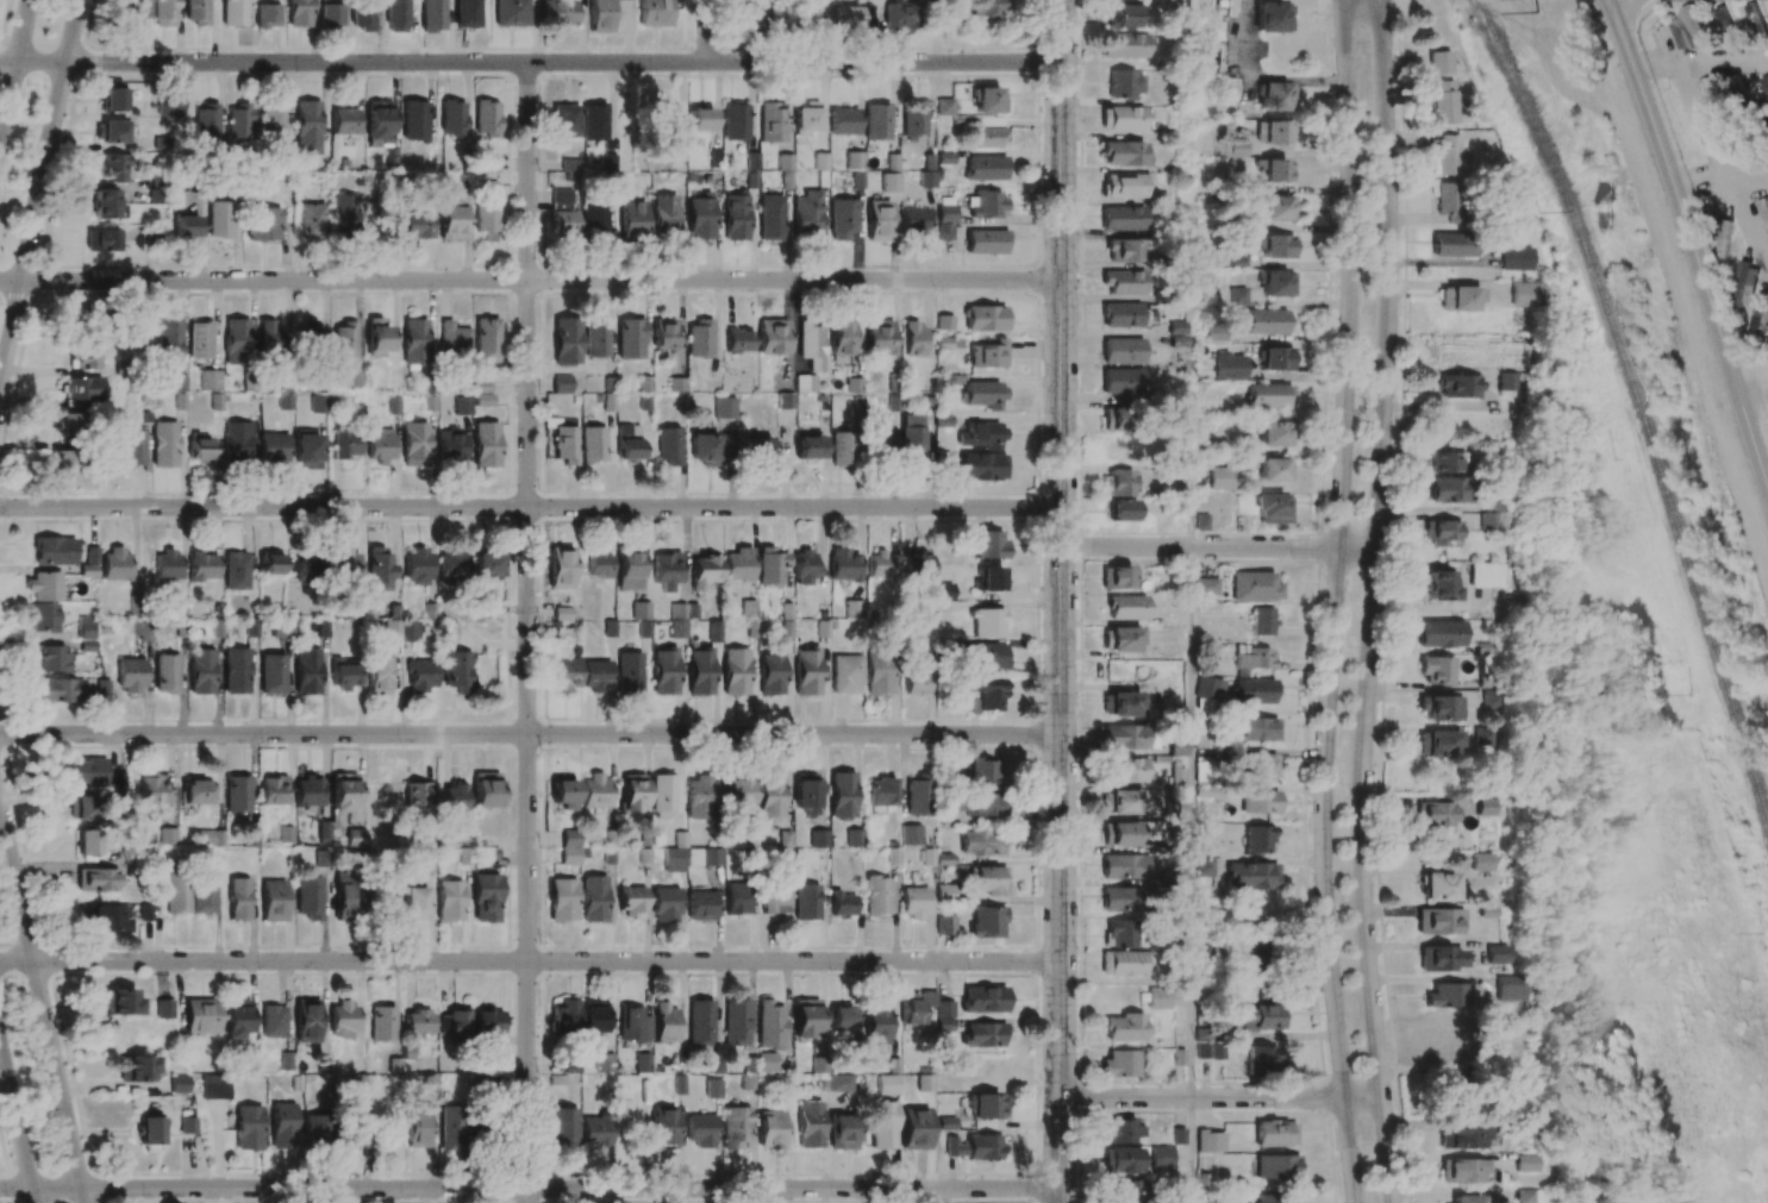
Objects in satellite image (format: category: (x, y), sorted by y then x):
building: (630, 0)
building: (875, 1)
building: (985, 8)
building: (136, 12)
building: (196, 12)
building: (164, 13)
building: (233, 13)
building: (299, 13)
building: (467, 13)
building: (510, 13)
building: (556, 13)
building: (654, 13)
building: (754, 13)
power tower: (1536, 13)
building: (1120, 14)
building: (267, 15)
building: (332, 15)
building: (363, 15)
building: (395, 15)
building: (432, 15)
building: (599, 15)
building: (899, 15)
building: (1272, 18)
building: (1757, 24)
building: (1726, 26)
building: (1687, 29)
road: (706, 31)
road: (20, 32)
road: (73, 32)
road: (1062, 32)
building: (1122, 45)
road: (1650, 56)
road: (6, 63)
road: (563, 63)
building: (1439, 63)
road: (39, 64)
building: (1124, 84)
building: (1712, 90)
building: (1764, 92)
road: (1687, 93)
road: (6, 95)
building: (112, 95)
building: (1275, 96)
building: (988, 101)
building: (1443, 102)
building: (170, 105)
building: (944, 107)
building: (451, 118)
building: (1122, 118)
building: (486, 119)
building: (700, 119)
building: (379, 120)
building: (564, 120)
building: (667, 120)
building: (913, 120)
building: (206, 121)
building: (344, 121)
building: (414, 121)
building: (593, 121)
building: (735, 121)
building: (806, 121)
building: (843, 121)
building: (877, 121)
building: (238, 123)
building: (771, 123)
building: (271, 126)
building: (307, 127)
building: (114, 132)
building: (988, 132)
building: (1272, 132)
building: (1236, 149)
building: (1748, 149)
building: (1124, 153)
building: (1447, 156)
building: (392, 158)
building: (485, 161)
building: (855, 161)
building: (785, 162)
building: (115, 168)
building: (985, 168)
building: (1274, 169)
building: (889, 182)
building: (1123, 186)
road: (1700, 186)
building: (156, 196)
building: (561, 199)
building: (1450, 201)
power tower: (1544, 202)
building: (986, 203)
building: (107, 205)
building: (1277, 208)
building: (1764, 209)
building: (343, 213)
building: (663, 213)
road: (32, 215)
building: (806, 215)
building: (487, 218)
building: (700, 218)
building: (736, 218)
building: (770, 218)
building: (1122, 218)
building: (220, 219)
building: (631, 219)
building: (842, 219)
building: (310, 220)
building: (450, 220)
building: (879, 220)
building: (913, 220)
building: (594, 221)
building: (563, 223)
building: (944, 223)
road: (1747, 223)
building: (262, 224)
building: (186, 226)
building: (410, 226)
building: (1723, 239)
building: (102, 240)
building: (986, 242)
road: (1692, 244)
building: (1454, 245)
building: (1277, 246)
building: (1122, 250)
building: (1514, 258)
road: (8, 280)
building: (1743, 280)
road: (538, 281)
building: (1123, 282)
building: (1277, 283)
building: (1523, 294)
building: (1238, 295)
building: (1458, 299)
building: (1758, 314)
building: (1122, 315)
building: (985, 318)
building: (1266, 321)
building: (944, 322)
building: (1174, 327)
building: (308, 332)
building: (595, 334)
building: (663, 334)
building: (377, 336)
building: (771, 337)
building: (879, 337)
building: (269, 338)
building: (841, 338)
building: (630, 339)
building: (699, 339)
building: (913, 339)
building: (169, 340)
building: (200, 340)
building: (452, 340)
building: (485, 340)
building: (738, 340)
building: (236, 342)
building: (344, 342)
building: (413, 342)
building: (566, 342)
building: (943, 343)
building: (810, 345)
building: (1122, 351)
building: (87, 355)
building: (987, 355)
building: (1276, 359)
building: (1229, 365)
road: (1751, 377)
building: (210, 380)
building: (1122, 381)
building: (1504, 382)
building: (562, 383)
building: (805, 383)
building: (676, 384)
building: (854, 386)
building: (1457, 387)
building: (783, 388)
building: (82, 391)
building: (482, 394)
building: (982, 394)
building: (1269, 395)
railway: (1638, 402)
building: (319, 403)
building: (462, 406)
building: (724, 407)
building: (1113, 419)
building: (68, 425)
building: (1272, 434)
building: (912, 438)
building: (239, 440)
building: (630, 443)
building: (164, 444)
building: (414, 444)
building: (593, 444)
building: (132, 445)
building: (344, 445)
building: (380, 445)
building: (485, 445)
building: (450, 446)
building: (564, 446)
building: (669, 446)
building: (762, 446)
building: (808, 447)
building: (876, 447)
building: (200, 449)
building: (273, 449)
building: (704, 449)
building: (992, 449)
building: (1120, 449)
building: (307, 450)
building: (842, 450)
power tower: (1618, 456)
building: (1443, 463)
building: (61, 465)
building: (1274, 470)
road: (1191, 475)
building: (1219, 478)
building: (1117, 483)
building: (1449, 490)
road: (531, 507)
building: (1263, 507)
building: (1124, 510)
building: (1493, 515)
street lamp: (937, 516)
building: (1177, 522)
street lamp: (1079, 527)
street lamp: (1197, 530)
building: (1442, 533)
building: (988, 545)
road: (1219, 547)
building: (54, 551)
street lamp: (1292, 558)
building: (89, 563)
building: (270, 563)
building: (344, 563)
building: (115, 564)
building: (487, 564)
building: (738, 564)
building: (879, 564)
building: (167, 565)
building: (451, 565)
building: (599, 565)
building: (843, 565)
building: (917, 565)
building: (202, 566)
building: (770, 566)
building: (805, 566)
building: (417, 568)
building: (560, 568)
building: (308, 569)
building: (379, 569)
building: (236, 570)
building: (627, 570)
building: (666, 570)
building: (704, 571)
building: (1483, 575)
building: (1116, 578)
building: (988, 579)
building: (44, 585)
building: (1205, 585)
building: (1442, 585)
building: (1252, 587)
building: (943, 591)
road: (1335, 601)
road: (1372, 601)
building: (851, 606)
building: (135, 607)
building: (1126, 607)
building: (748, 608)
building: (641, 610)
building: (683, 610)
building: (562, 614)
building: (43, 618)
building: (786, 620)
building: (1261, 621)
building: (986, 622)
building: (86, 627)
building: (250, 628)
building: (677, 628)
building: (140, 629)
building: (400, 629)
building: (281, 631)
building: (714, 631)
road: (527, 633)
road: (1061, 633)
building: (1439, 633)
building: (1119, 639)
street lamp: (1351, 646)
building: (1252, 657)
building: (52, 658)
building: (983, 658)
street lamp: (1077, 660)
building: (1437, 670)
building: (200, 671)
building: (235, 671)
building: (306, 671)
building: (455, 671)
building: (629, 671)
building: (664, 671)
building: (700, 671)
building: (735, 671)
building: (806, 671)
building: (844, 672)
building: (165, 673)
building: (271, 673)
building: (376, 673)
building: (770, 673)
building: (877, 673)
building: (130, 675)
building: (342, 675)
building: (420, 675)
building: (563, 675)
building: (594, 675)
building: (914, 682)
building: (102, 687)
building: (1207, 688)
building: (61, 690)
building: (1254, 691)
building: (988, 695)
power tower: (1687, 697)
building: (1489, 700)
building: (1119, 704)
building: (1442, 708)
building: (1255, 729)
road: (530, 734)
building: (1482, 737)
building: (1204, 739)
street lamp: (931, 744)
building: (1437, 744)
building: (1176, 747)
building: (1258, 765)
building: (1126, 770)
building: (85, 772)
building: (982, 772)
building: (1176, 776)
building: (118, 782)
street lamp: (1342, 784)
building: (152, 790)
building: (273, 790)
building: (485, 790)
building: (308, 791)
building: (342, 791)
building: (594, 791)
building: (737, 791)
building: (881, 791)
building: (194, 792)
building: (632, 792)
building: (806, 792)
building: (237, 794)
building: (416, 794)
building: (563, 794)
building: (770, 795)
building: (842, 795)
building: (918, 795)
building: (663, 796)
building: (700, 797)
building: (454, 798)
building: (1119, 802)
building: (1258, 802)
building: (975, 804)
building: (1485, 807)
building: (79, 808)
building: (1175, 808)
building: (1433, 814)
road: (1191, 822)
street lamp: (1077, 823)
building: (323, 832)
building: (286, 834)
building: (911, 834)
building: (1119, 834)
building: (167, 835)
building: (211, 838)
building: (355, 838)
building: (819, 838)
building: (854, 838)
building: (1257, 839)
building: (87, 842)
building: (980, 842)
building: (570, 847)
building: (130, 852)
building: (489, 853)
building: (704, 857)
building: (674, 859)
building: (1481, 861)
building: (1124, 866)
building: (1204, 867)
building: (1251, 876)
building: (96, 879)
building: (988, 881)
building: (1438, 886)
building: (177, 894)
building: (204, 895)
building: (876, 895)
building: (310, 897)
building: (346, 897)
building: (486, 897)
building: (238, 898)
building: (387, 898)
building: (593, 898)
building: (736, 898)
building: (775, 898)
building: (562, 900)
building: (1122, 900)
building: (273, 901)
building: (449, 901)
building: (632, 901)
building: (805, 902)
building: (913, 902)
building: (414, 903)
street lamp: (1343, 903)
building: (664, 904)
building: (843, 904)
building: (701, 906)
building: (107, 917)
building: (1439, 921)
building: (986, 922)
building: (945, 925)
building: (1119, 934)
power tower: (1761, 935)
street lamp: (123, 951)
street lamp: (1076, 953)
building: (1494, 954)
building: (1439, 959)
road: (17, 961)
road: (546, 961)
building: (1123, 963)
street lamp: (967, 970)
building: (1503, 988)
street lamp: (1, 989)
building: (1448, 995)
building: (1157, 997)
building: (983, 1000)
building: (120, 1002)
building: (164, 1008)
road: (43, 1011)
building: (201, 1016)
building: (563, 1016)
building: (910, 1016)
building: (592, 1017)
building: (805, 1017)
building: (841, 1017)
building: (1262, 1017)
building: (236, 1019)
building: (344, 1019)
building: (273, 1021)
building: (306, 1021)
building: (417, 1022)
building: (664, 1022)
building: (700, 1022)
building: (736, 1022)
building: (876, 1022)
building: (381, 1023)
building: (633, 1023)
building: (769, 1025)
building: (457, 1026)
building: (487, 1026)
building: (1124, 1027)
building: (983, 1035)
building: (1448, 1036)
building: (1210, 1050)
building: (642, 1059)
building: (1261, 1059)
street lamp: (1357, 1060)
building: (285, 1061)
building: (766, 1061)
building: (604, 1063)
building: (1119, 1064)
building: (716, 1065)
building: (893, 1065)
building: (137, 1069)
building: (1452, 1079)
street lamp: (1039, 1080)
building: (425, 1082)
building: (839, 1083)
building: (925, 1083)
building: (179, 1084)
building: (887, 1084)
building: (214, 1088)
building: (712, 1089)
road: (1220, 1098)
building: (986, 1105)
street lamp: (1274, 1111)
street lamp: (54, 1117)
street lamp: (29, 1119)
building: (947, 1122)
road: (17, 1124)
building: (810, 1124)
building: (882, 1124)
building: (282, 1126)
building: (450, 1127)
building: (662, 1127)
building: (735, 1127)
building: (248, 1128)
building: (563, 1128)
building: (313, 1129)
building: (416, 1129)
building: (771, 1129)
building: (914, 1129)
building: (150, 1130)
building: (700, 1130)
building: (1122, 1130)
building: (594, 1132)
building: (843, 1133)
building: (1274, 1133)
building: (1463, 1135)
building: (352, 1138)
building: (1210, 1141)
building: (975, 1147)
road: (1191, 1151)
building: (1160, 1157)
building: (1120, 1160)
building: (1525, 1164)
building: (1276, 1167)
building: (1463, 1171)
road: (570, 1188)
road: (39, 1189)
building: (1124, 1191)
street lamp: (1370, 1196)
building: (1526, 1196)
street lamp: (973, 1197)
building: (1223, 1198)
building: (1273, 1198)
building: (1462, 1198)

